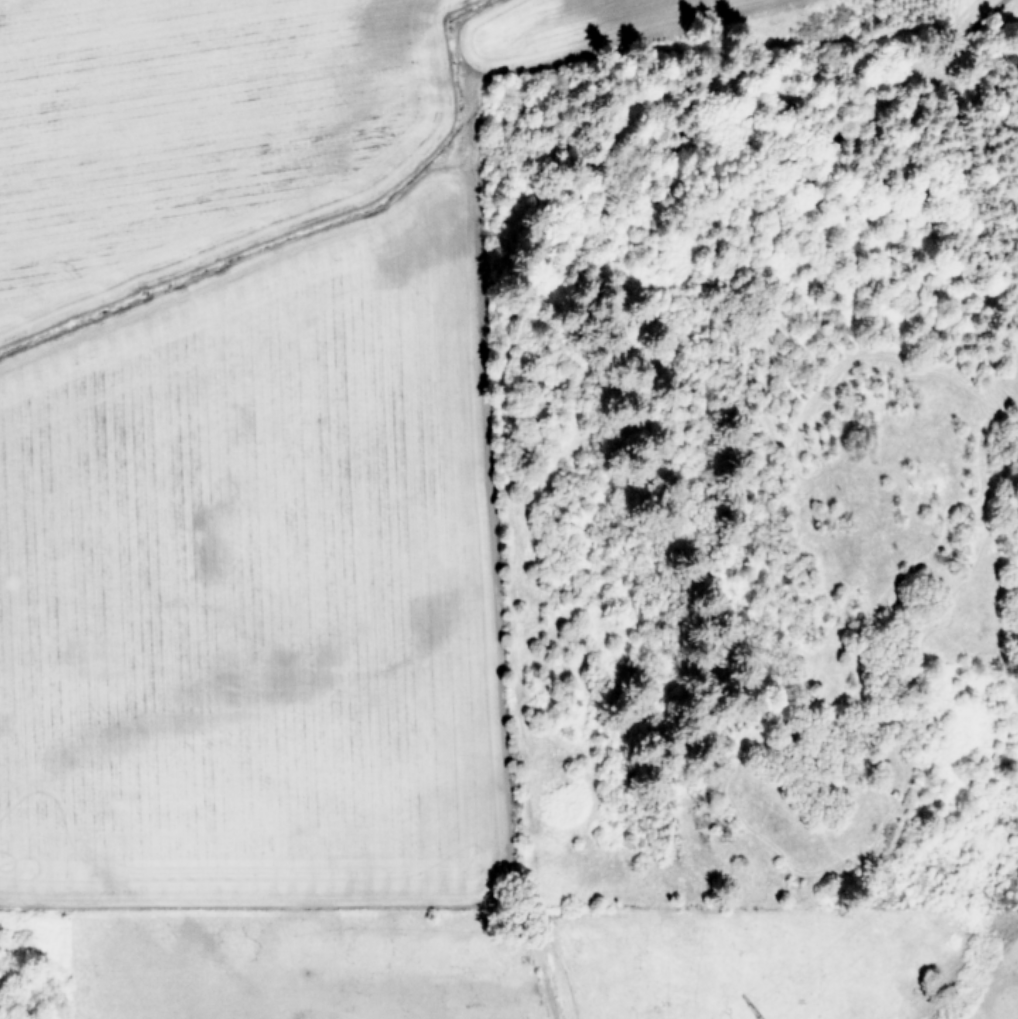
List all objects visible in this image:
road: (921, 143)
crop: (307, 564)

